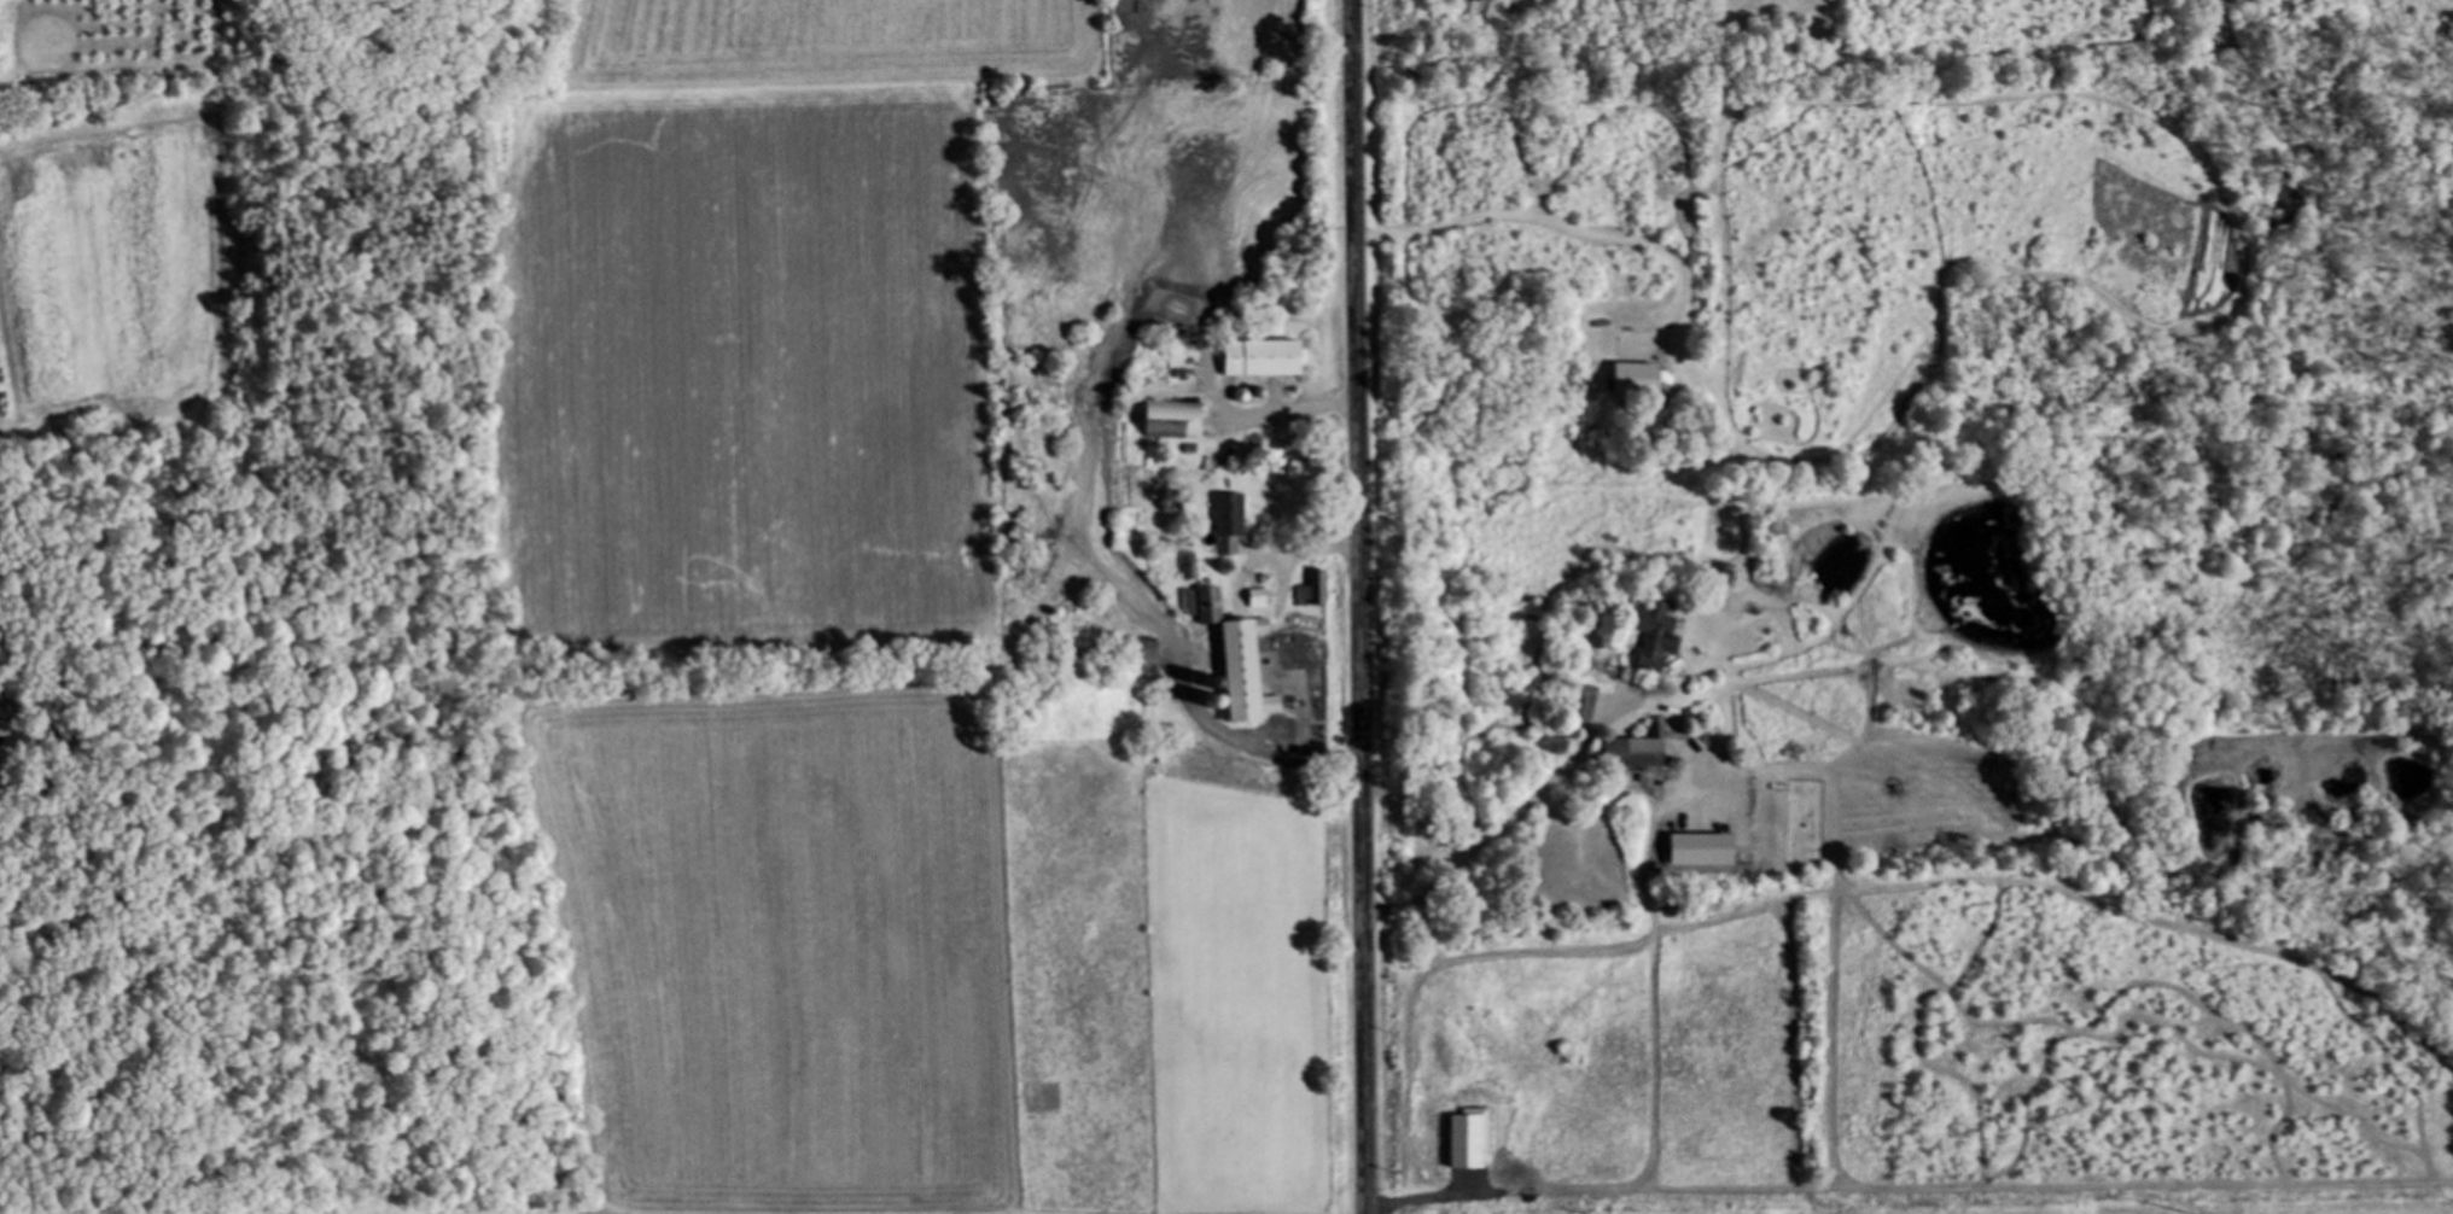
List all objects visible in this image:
building: (1246, 360)
road: (1266, 413)
building: (1183, 422)
building: (1243, 525)
road: (1299, 548)
road: (1259, 549)
building: (1334, 589)
building: (1274, 599)
road: (1362, 606)
building: (1668, 636)
building: (1147, 652)
building: (1251, 663)
building: (1600, 704)
building: (1, 734)
road: (1286, 752)
building: (1648, 752)

